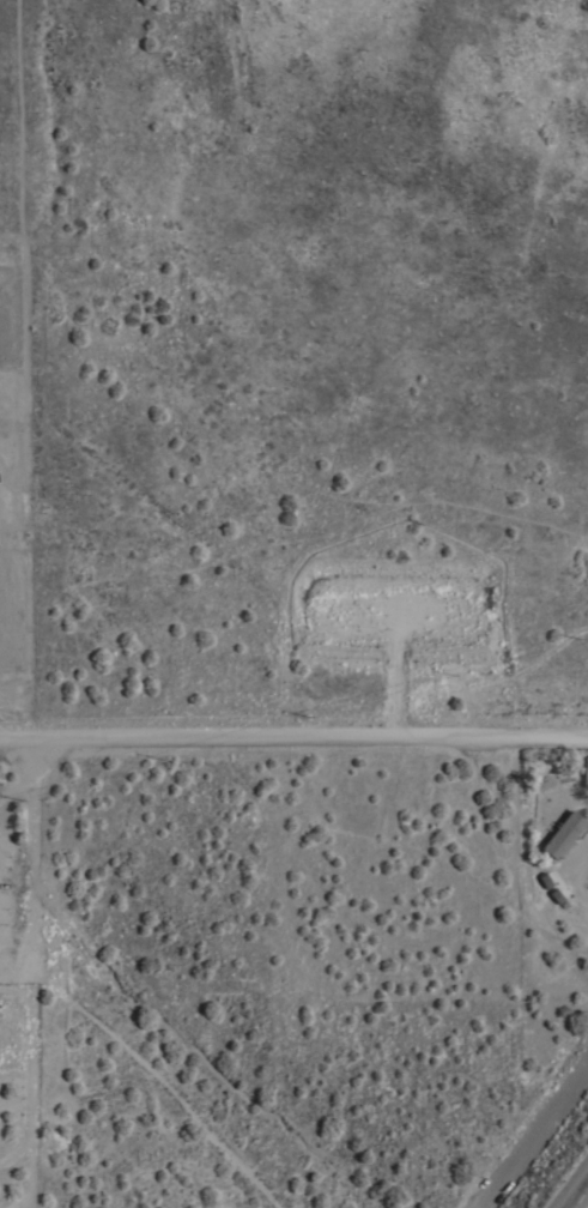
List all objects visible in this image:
road: (310, 743)
road: (17, 745)
road: (16, 787)
building: (563, 832)
road: (32, 870)
road: (577, 878)
road: (30, 1058)
road: (550, 1116)
road: (586, 1206)

